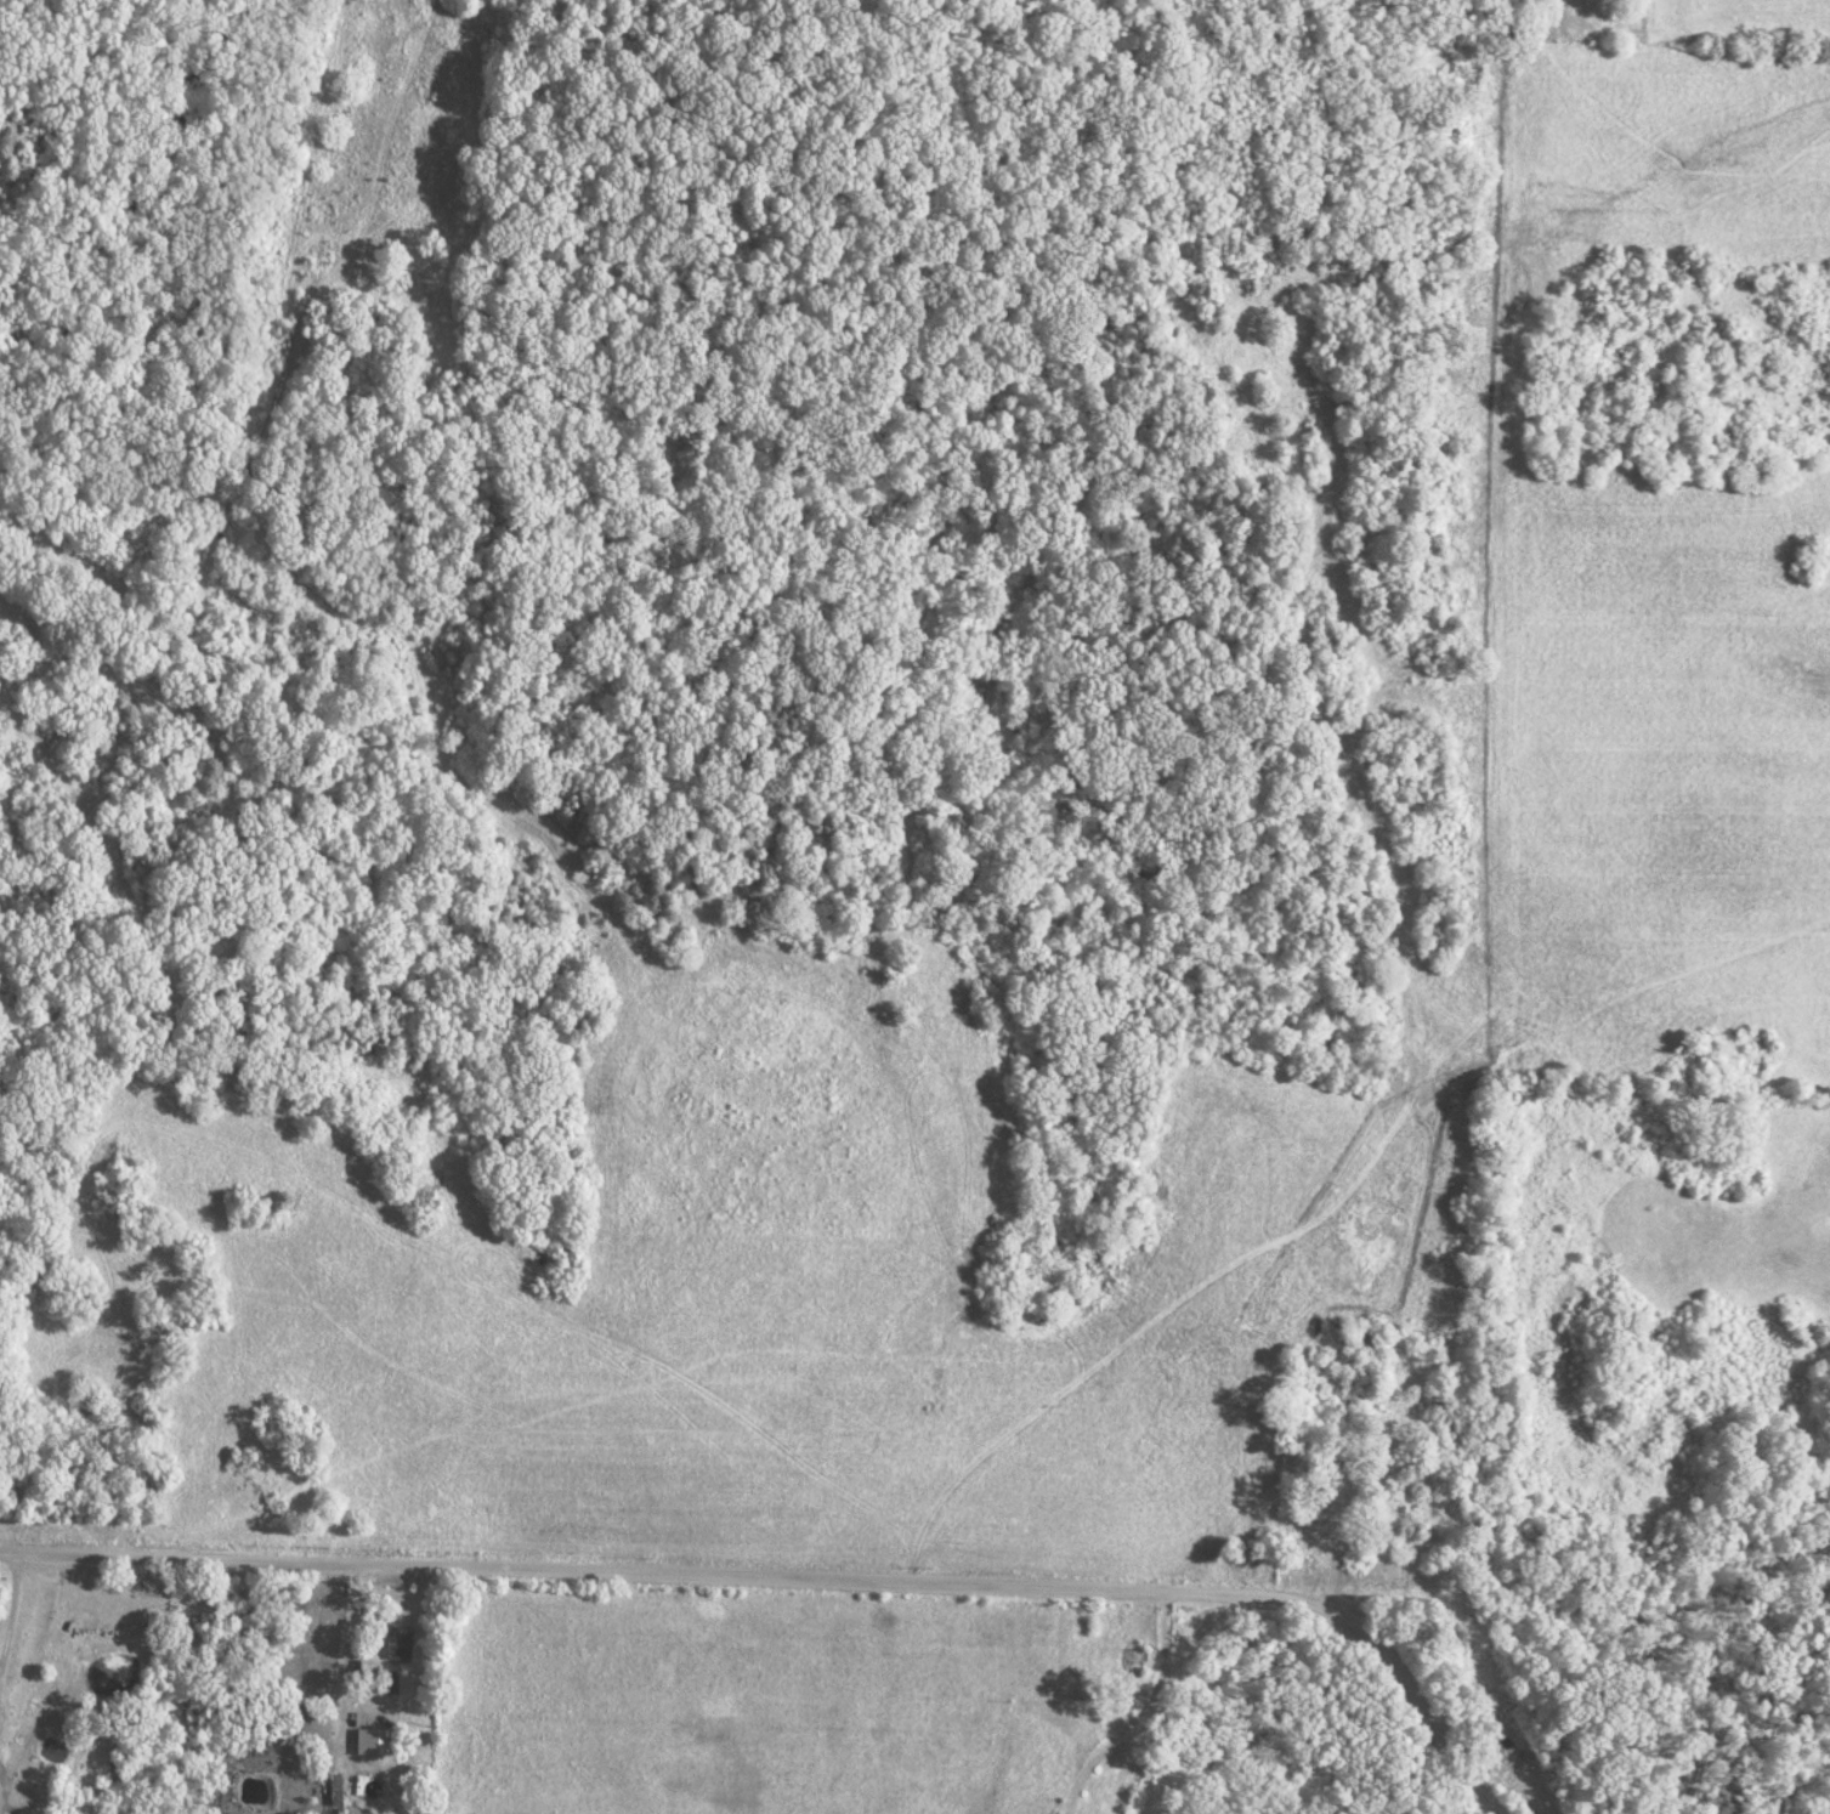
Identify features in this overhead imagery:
building: (1362, 1344)
building: (1321, 1483)
road: (1343, 1524)
road: (675, 1574)
building: (398, 1645)
building: (1133, 1662)
road: (1424, 1712)
road: (1156, 1716)

